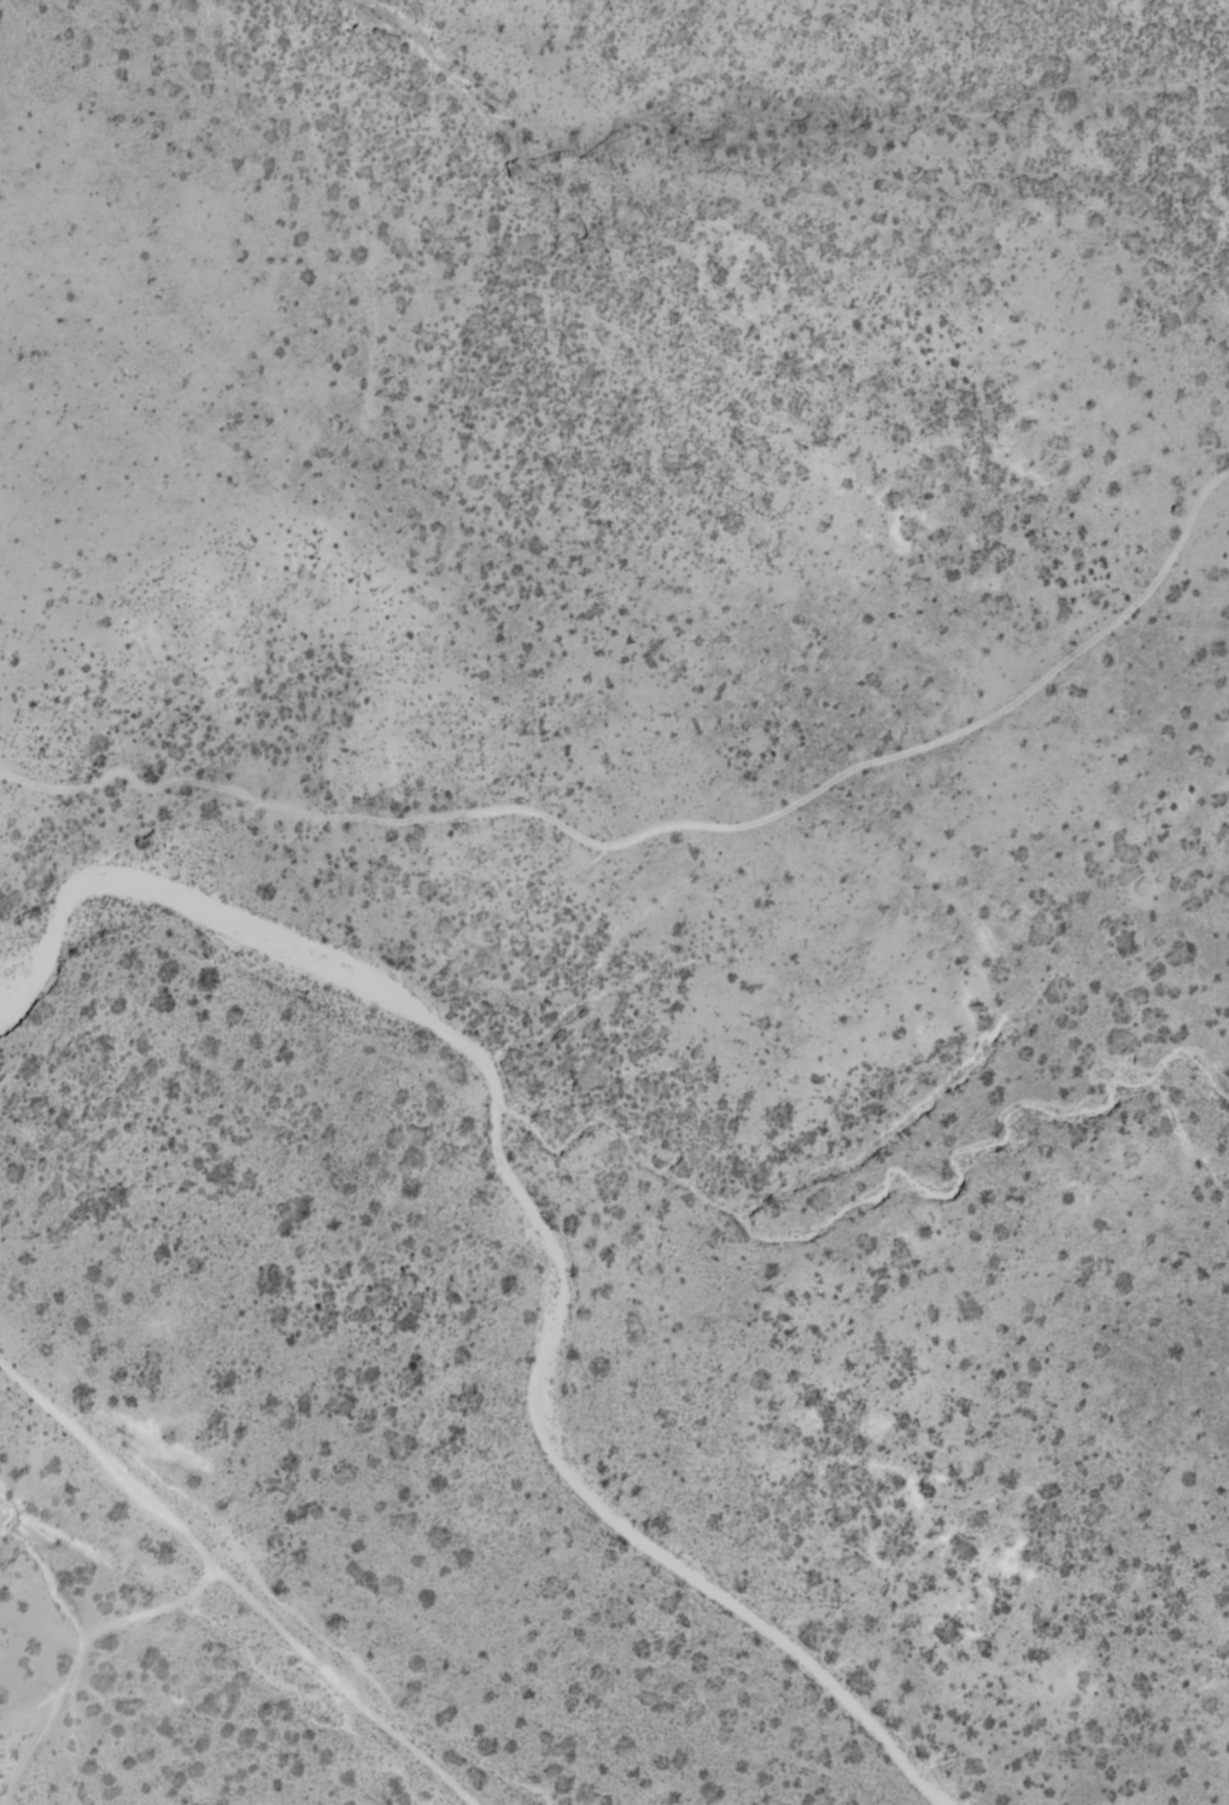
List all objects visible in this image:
road: (233, 1575)

